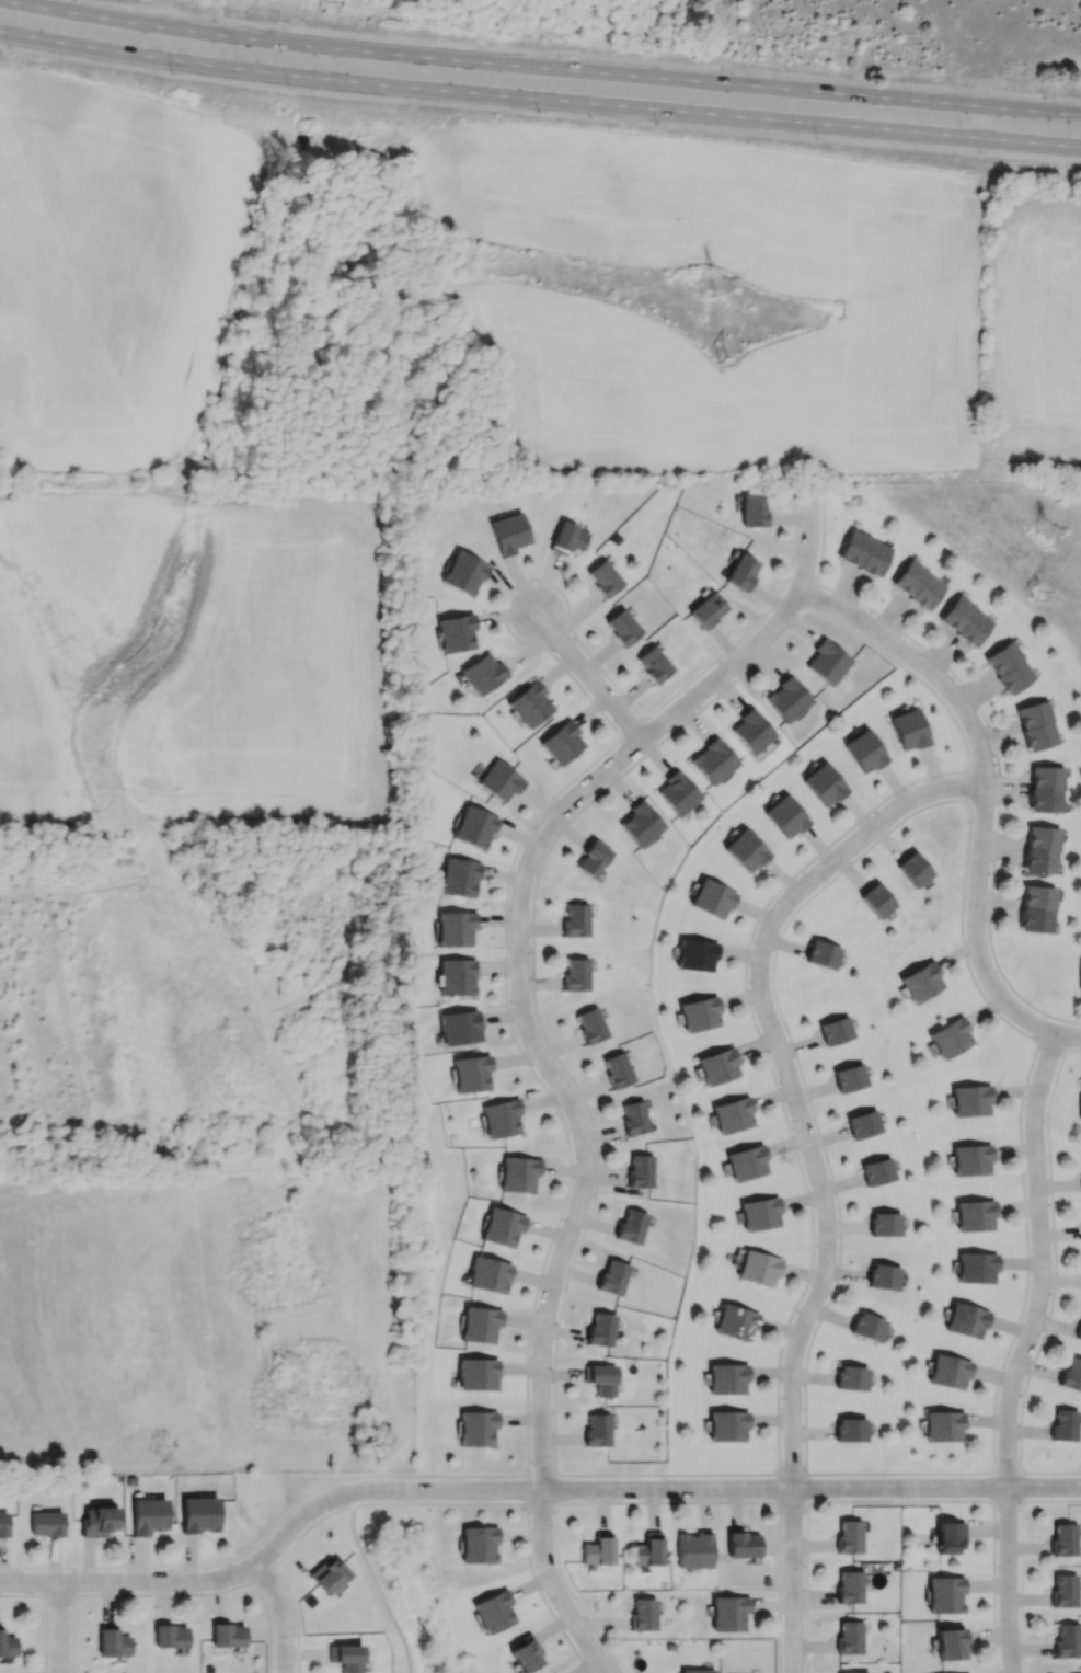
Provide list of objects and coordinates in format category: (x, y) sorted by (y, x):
road: (539, 68)
road: (539, 99)
road: (626, 117)
crop: (113, 266)
power tower: (712, 278)
power tower: (723, 367)
building: (752, 511)
building: (508, 532)
power tower: (1043, 534)
building: (567, 538)
building: (864, 551)
building: (463, 572)
building: (740, 572)
building: (603, 578)
building: (918, 584)
power tower: (1033, 603)
building: (706, 609)
building: (968, 621)
building: (622, 627)
building: (455, 632)
crop: (191, 656)
building: (827, 662)
building: (652, 664)
building: (1011, 667)
building: (482, 674)
road: (588, 674)
building: (786, 700)
building: (528, 703)
building: (1037, 725)
building: (749, 731)
building: (908, 731)
road: (992, 741)
building: (561, 742)
road: (656, 746)
building: (864, 752)
building: (713, 761)
building: (499, 779)
building: (824, 782)
building: (1048, 788)
building: (677, 792)
building: (784, 814)
building: (641, 823)
building: (473, 826)
building: (745, 848)
building: (1042, 850)
building: (593, 857)
building: (913, 869)
building: (458, 876)
building: (712, 897)
building: (876, 899)
building: (1036, 909)
building: (576, 920)
building: (455, 927)
building: (694, 954)
building: (823, 954)
road: (774, 955)
building: (575, 974)
building: (1078, 974)
building: (457, 976)
building: (920, 982)
building: (699, 1012)
road: (509, 1023)
building: (590, 1024)
building: (459, 1027)
building: (836, 1030)
road: (1067, 1035)
building: (948, 1036)
road: (532, 1038)
road: (1050, 1045)
road: (1072, 1049)
building: (716, 1065)
road: (1043, 1069)
building: (618, 1070)
building: (470, 1074)
building: (850, 1078)
building: (970, 1100)
building: (1079, 1100)
building: (731, 1114)
building: (501, 1118)
building: (635, 1118)
building: (863, 1124)
building: (970, 1160)
road: (810, 1161)
building: (745, 1162)
building: (1080, 1162)
building: (641, 1171)
building: (877, 1171)
building: (518, 1173)
building: (758, 1214)
building: (975, 1214)
building: (885, 1223)
building: (502, 1226)
building: (632, 1227)
road: (809, 1236)
building: (976, 1267)
building: (757, 1269)
building: (490, 1275)
building: (883, 1276)
building: (613, 1277)
road: (1053, 1291)
building: (966, 1319)
building: (735, 1322)
building: (480, 1323)
building: (867, 1327)
building: (601, 1331)
building: (1079, 1332)
road: (1008, 1350)
building: (948, 1372)
building: (476, 1374)
building: (1072, 1376)
building: (851, 1378)
building: (601, 1379)
building: (727, 1379)
building: (1065, 1425)
building: (942, 1426)
building: (476, 1428)
building: (726, 1428)
building: (851, 1430)
building: (597, 1431)
road: (1007, 1471)
road: (792, 1473)
road: (540, 1474)
road: (667, 1474)
road: (1020, 1486)
road: (554, 1487)
road: (805, 1487)
road: (993, 1487)
road: (527, 1488)
road: (779, 1488)
road: (526, 1491)
road: (1007, 1500)
road: (1050, 1500)
road: (541, 1501)
road: (667, 1501)
road: (792, 1501)
road: (985, 1501)
road: (482, 1502)
building: (199, 1514)
building: (148, 1515)
building: (96, 1521)
building: (46, 1524)
building: (2, 1525)
building: (848, 1535)
building: (950, 1535)
building: (1063, 1538)
building: (478, 1543)
building: (741, 1544)
building: (647, 1549)
building: (694, 1549)
building: (597, 1550)
building: (326, 1573)
road: (262, 1574)
road: (44, 1581)
road: (375, 1583)
road: (806, 1586)
building: (848, 1586)
road: (1021, 1586)
park: (405, 1588)
road: (779, 1588)
building: (1065, 1590)
road: (572, 1592)
road: (172, 1593)
building: (944, 1593)
road: (59, 1595)
building: (493, 1611)
road: (45, 1612)
building: (644, 1613)
building: (729, 1613)
road: (280, 1614)
road: (295, 1616)
road: (60, 1627)
building: (169, 1636)
building: (227, 1636)
building: (848, 1637)
building: (1067, 1639)
building: (111, 1642)
building: (950, 1642)
building: (7, 1646)
building: (525, 1652)
building: (345, 1657)
building: (697, 1670)
building: (849, 1672)
building: (965, 1672)

